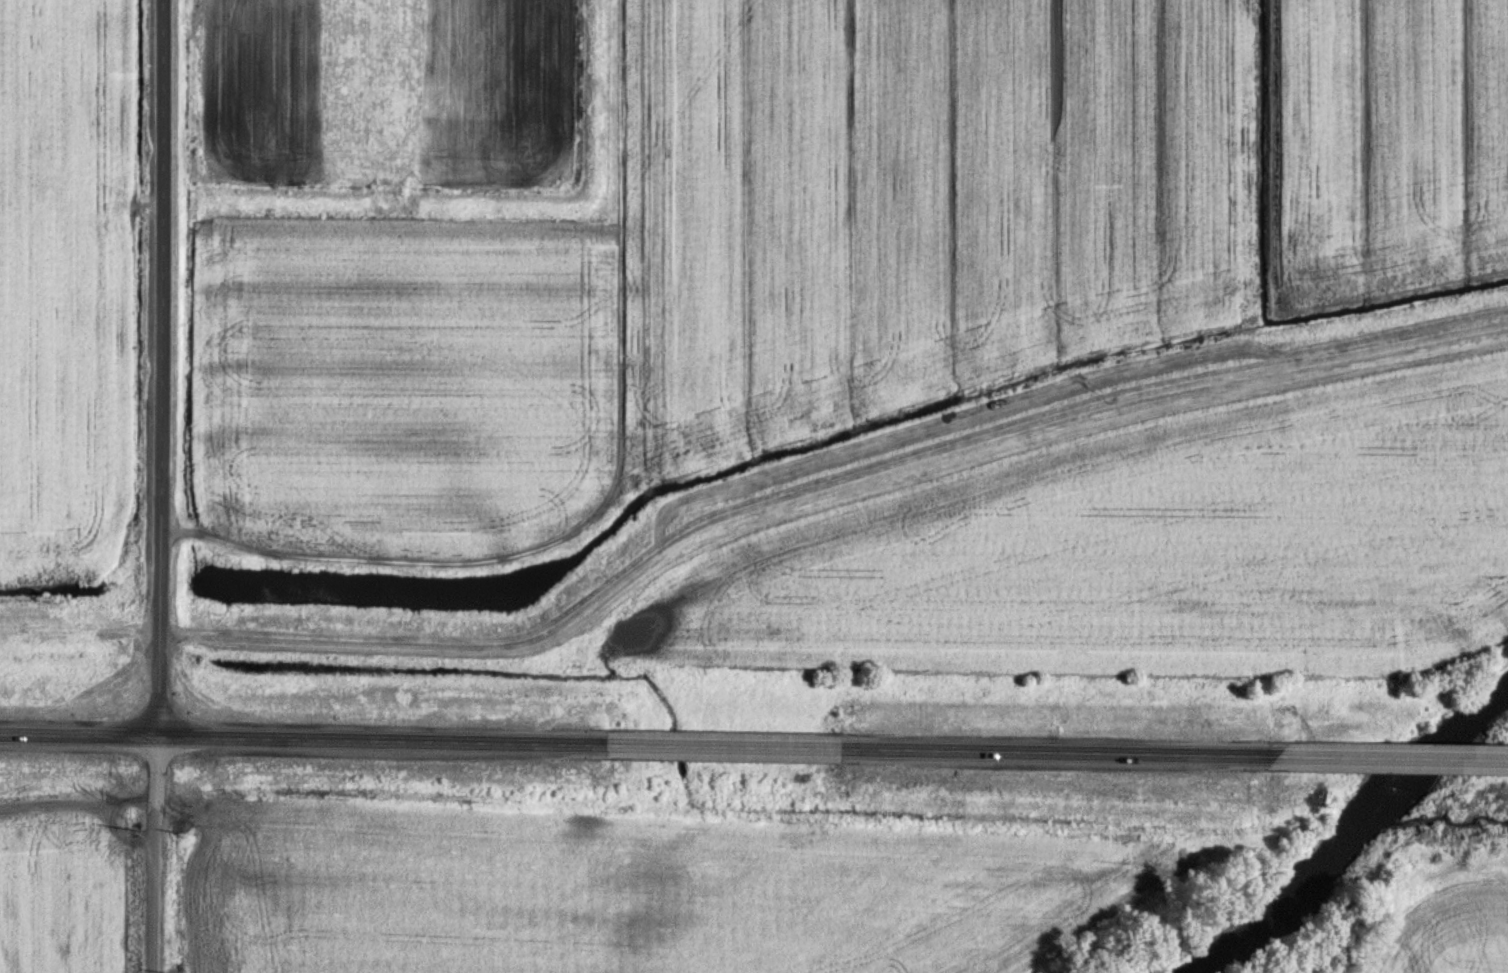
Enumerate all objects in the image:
road: (157, 367)
road: (603, 742)
road: (1357, 756)
river: (1350, 829)
road: (154, 853)

